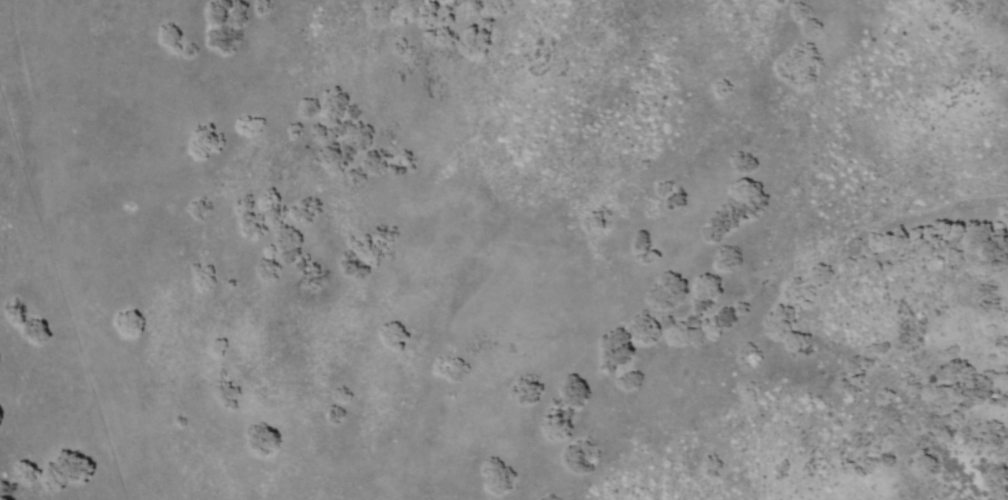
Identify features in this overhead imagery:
road: (71, 251)

